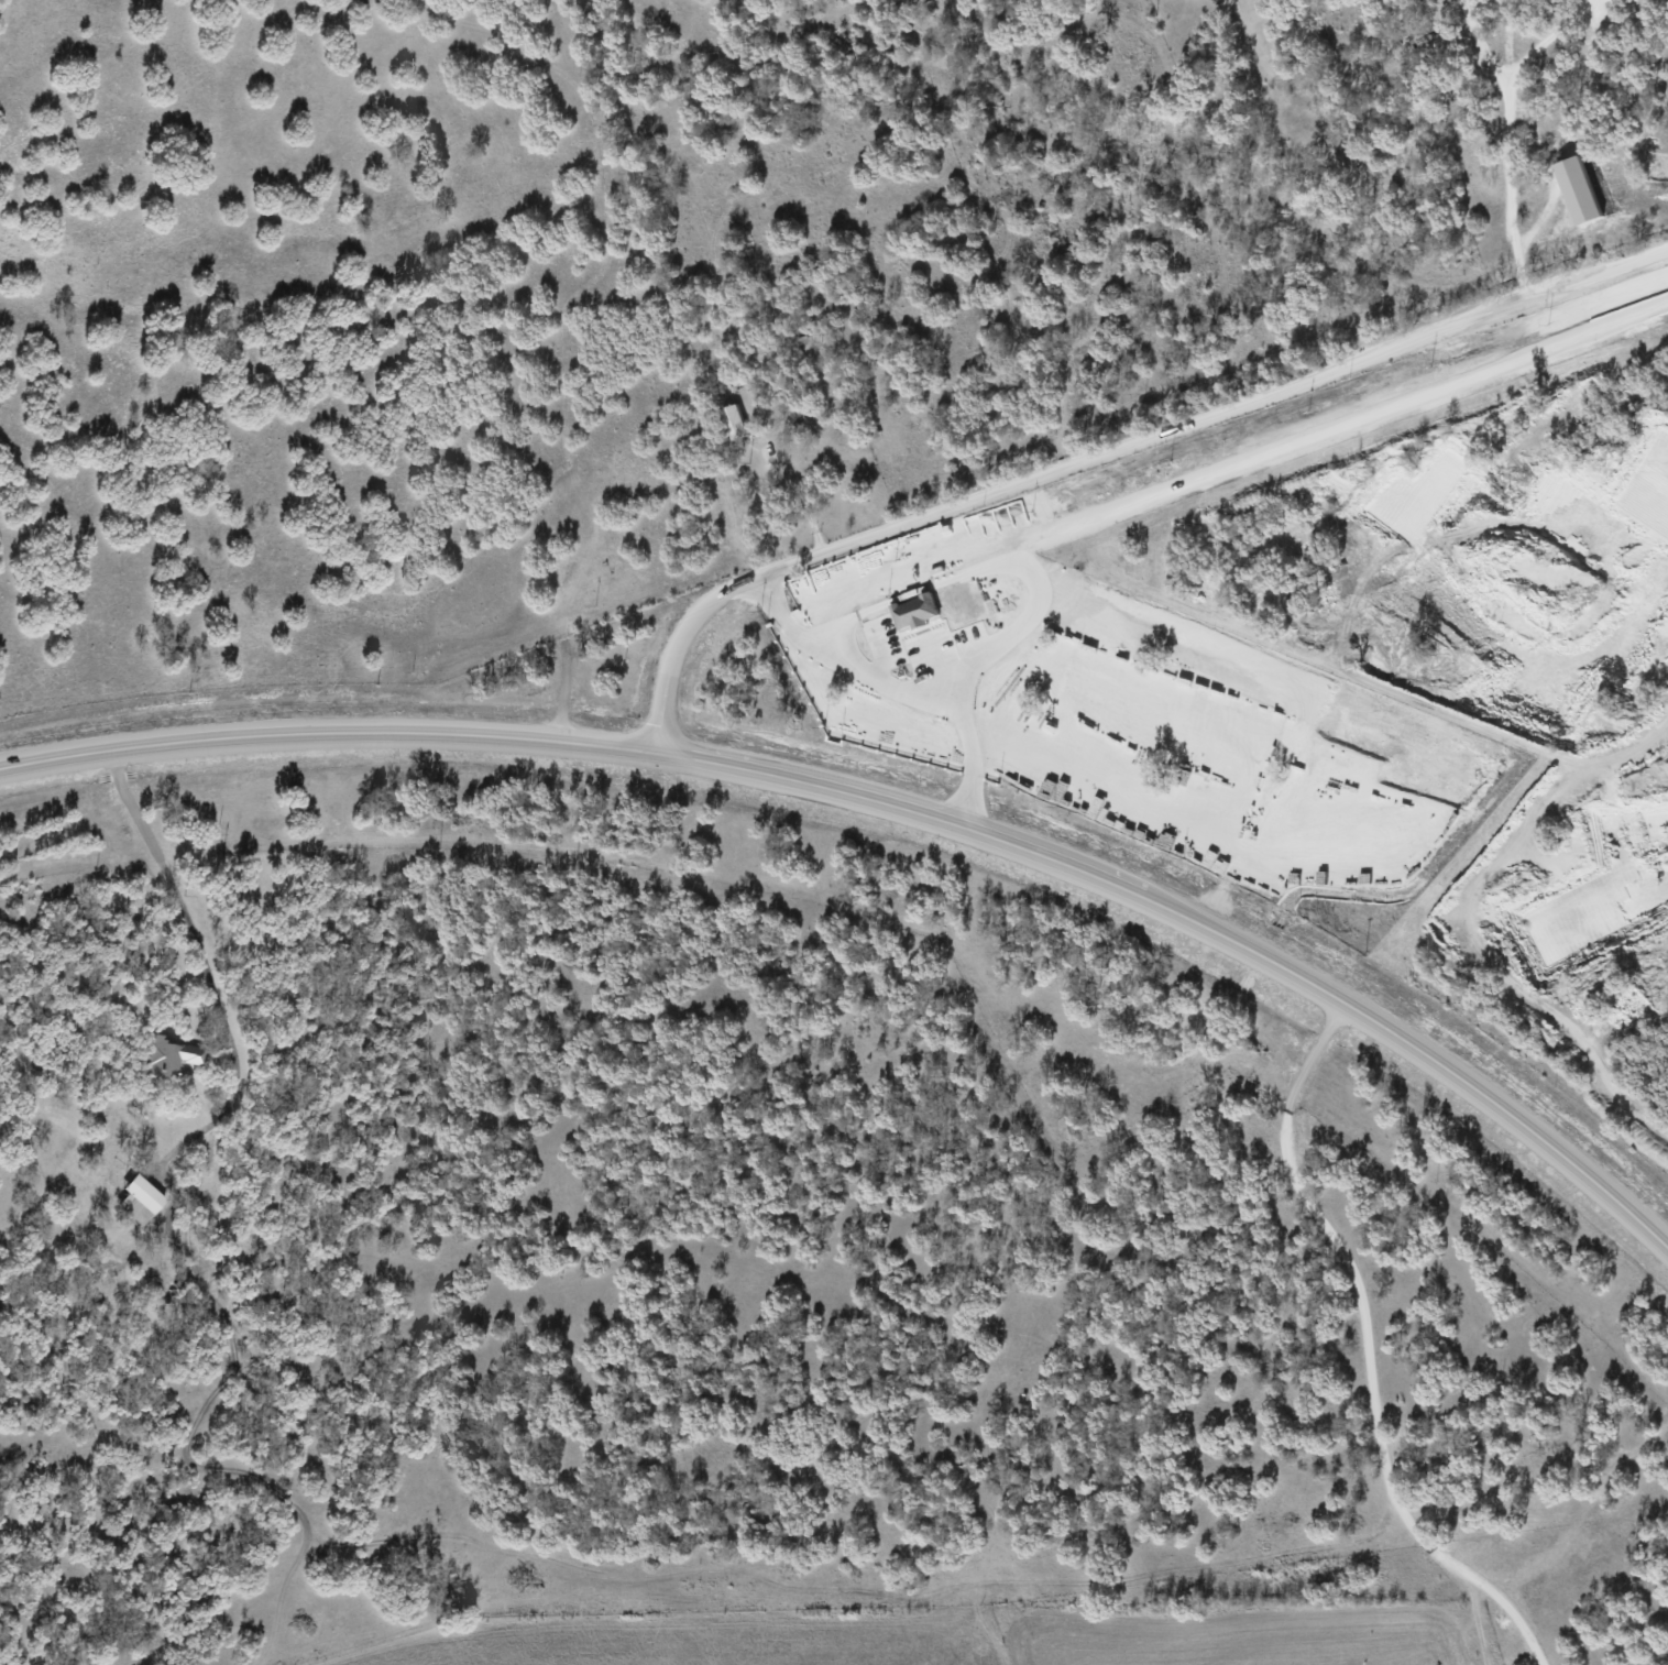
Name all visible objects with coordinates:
building: (1576, 190)
building: (729, 421)
road: (1109, 452)
road: (798, 497)
building: (912, 611)
road: (882, 692)
road: (326, 731)
road: (1199, 920)
road: (204, 960)
building: (169, 1056)
building: (138, 1198)
road: (1364, 1350)

